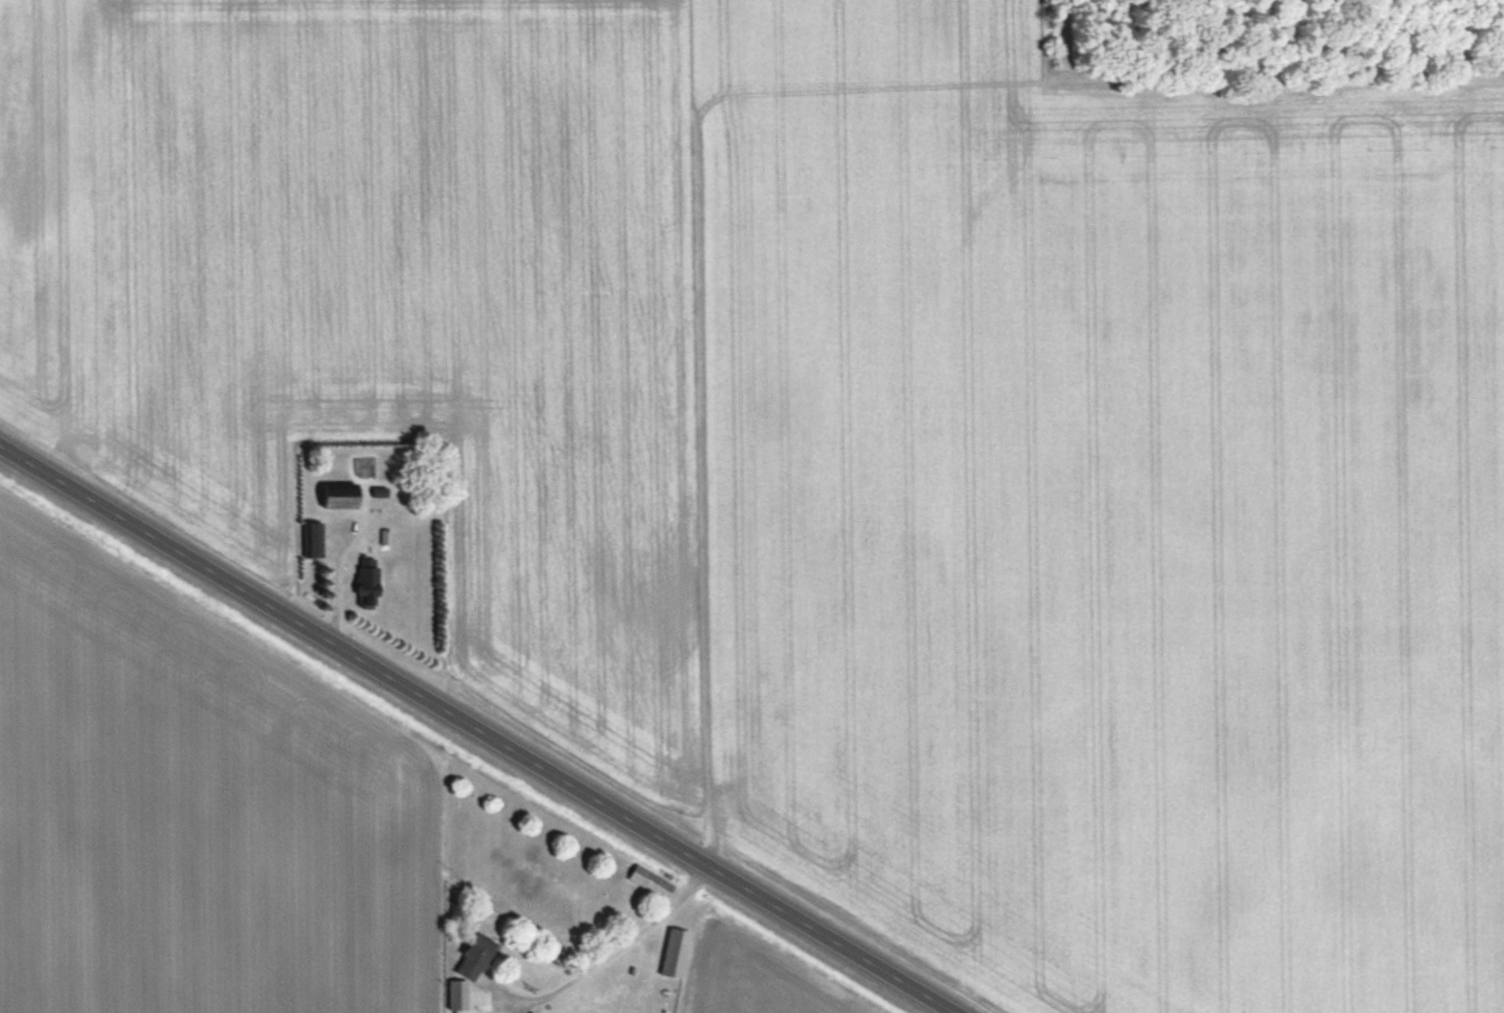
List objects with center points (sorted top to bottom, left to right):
building: (339, 497)
building: (314, 539)
building: (367, 581)
road: (476, 729)
building: (650, 880)
building: (674, 952)
road: (617, 955)
building: (474, 957)
building: (457, 995)

